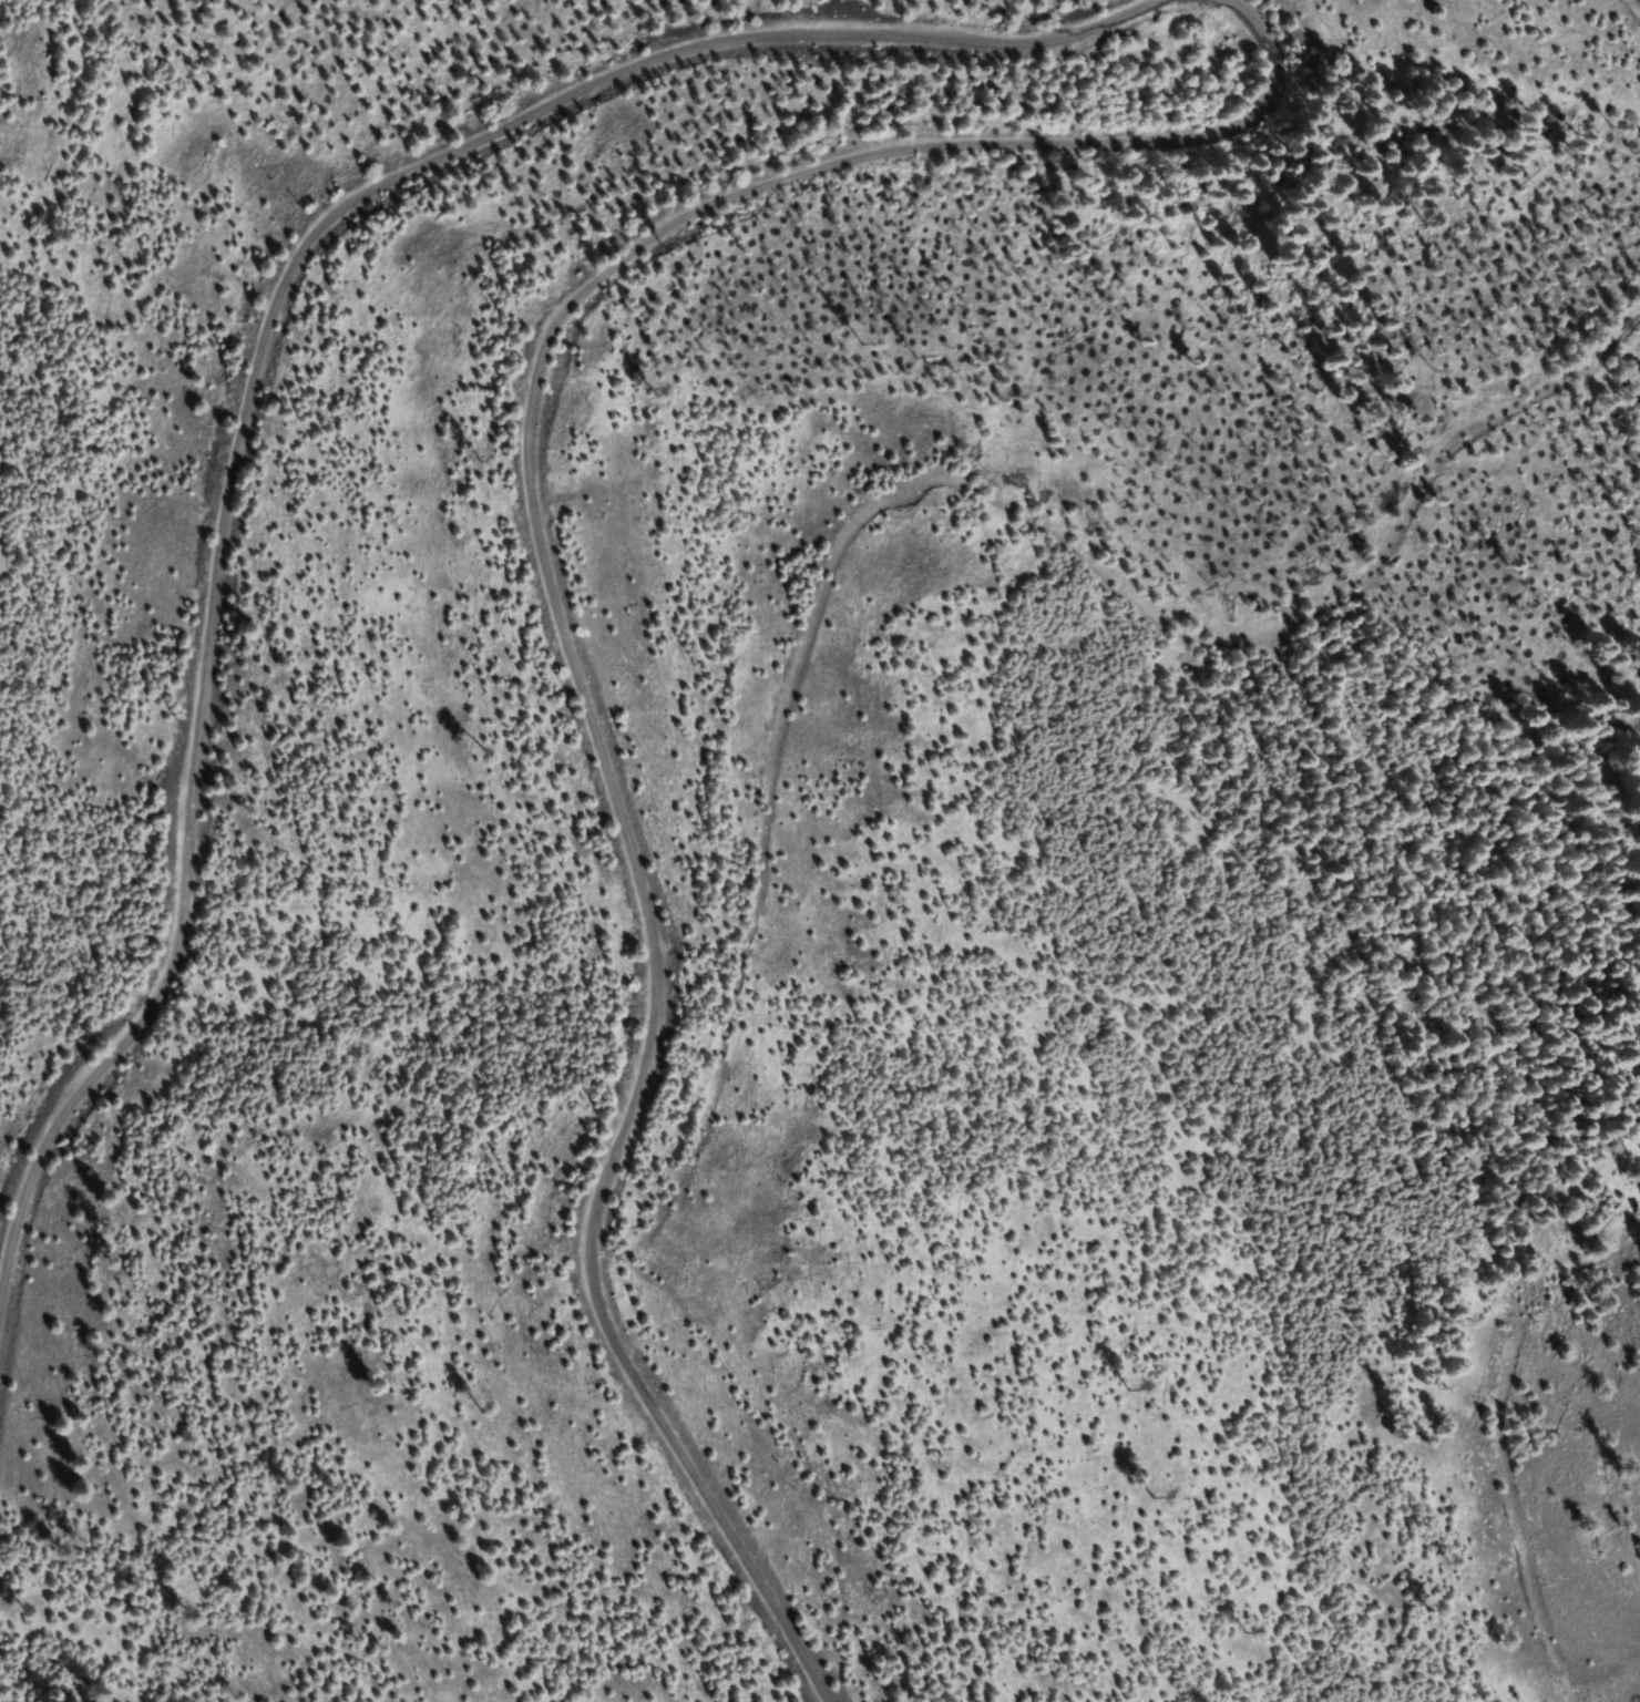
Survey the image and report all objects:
road: (1202, 30)
road: (253, 385)
road: (613, 730)

